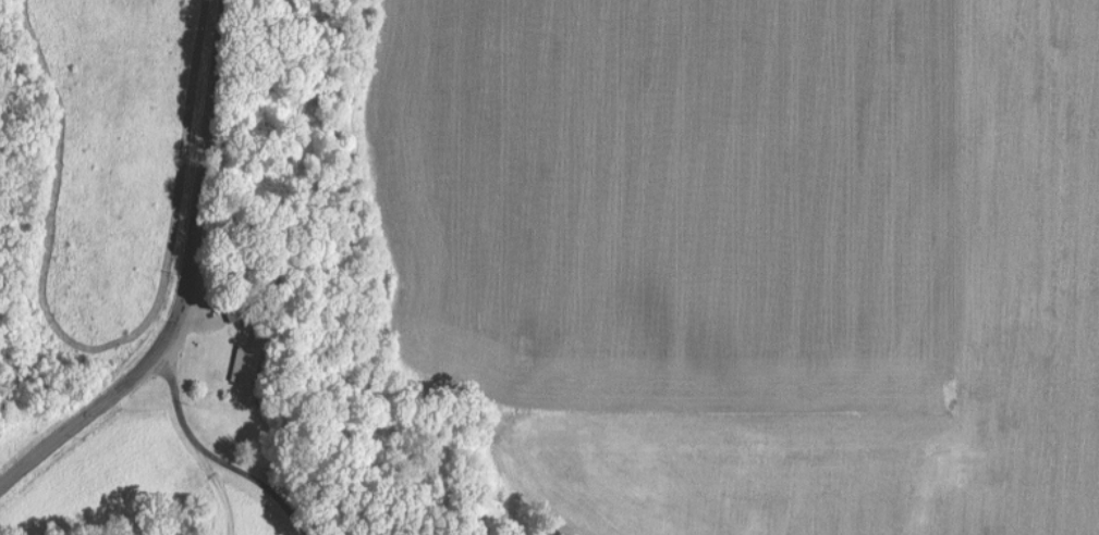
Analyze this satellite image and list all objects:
road: (187, 284)
building: (244, 361)
road: (194, 443)
road: (257, 482)

